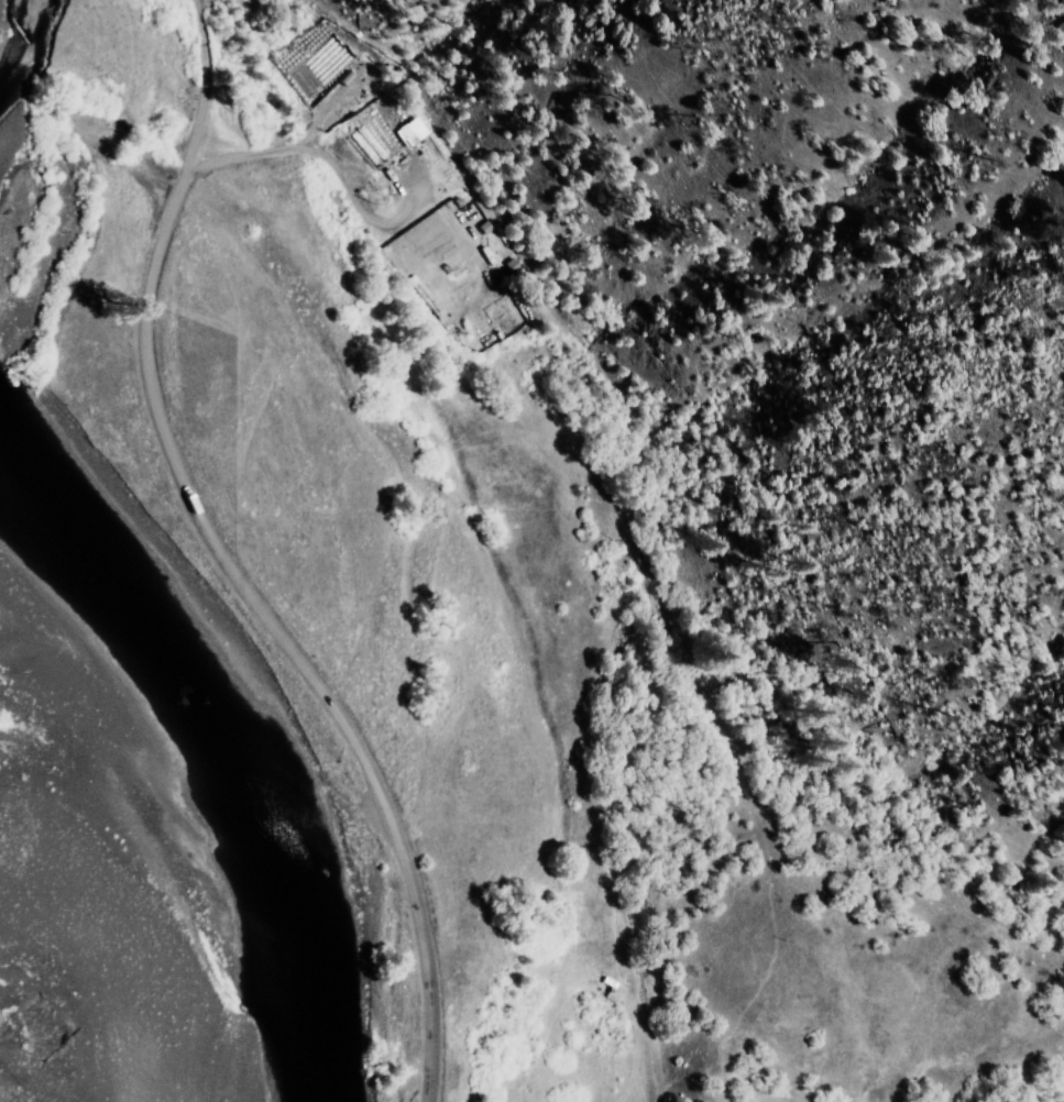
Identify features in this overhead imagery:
road: (386, 224)
road: (241, 560)

